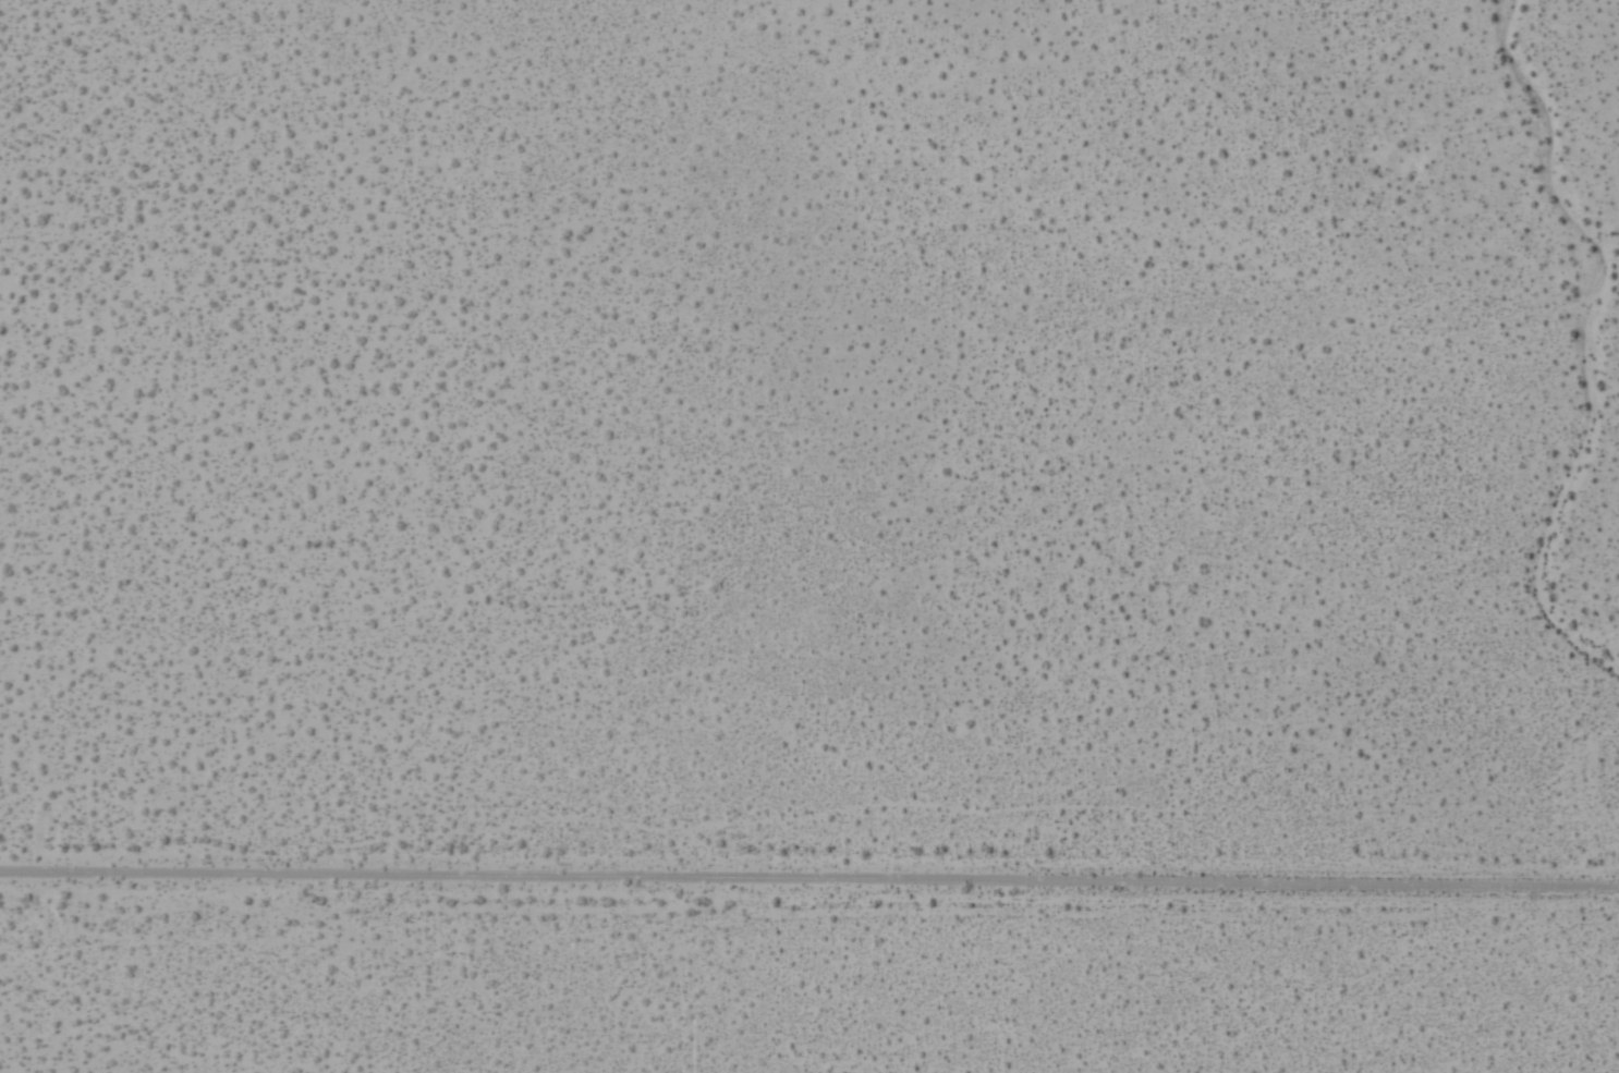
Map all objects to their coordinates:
road: (809, 883)

